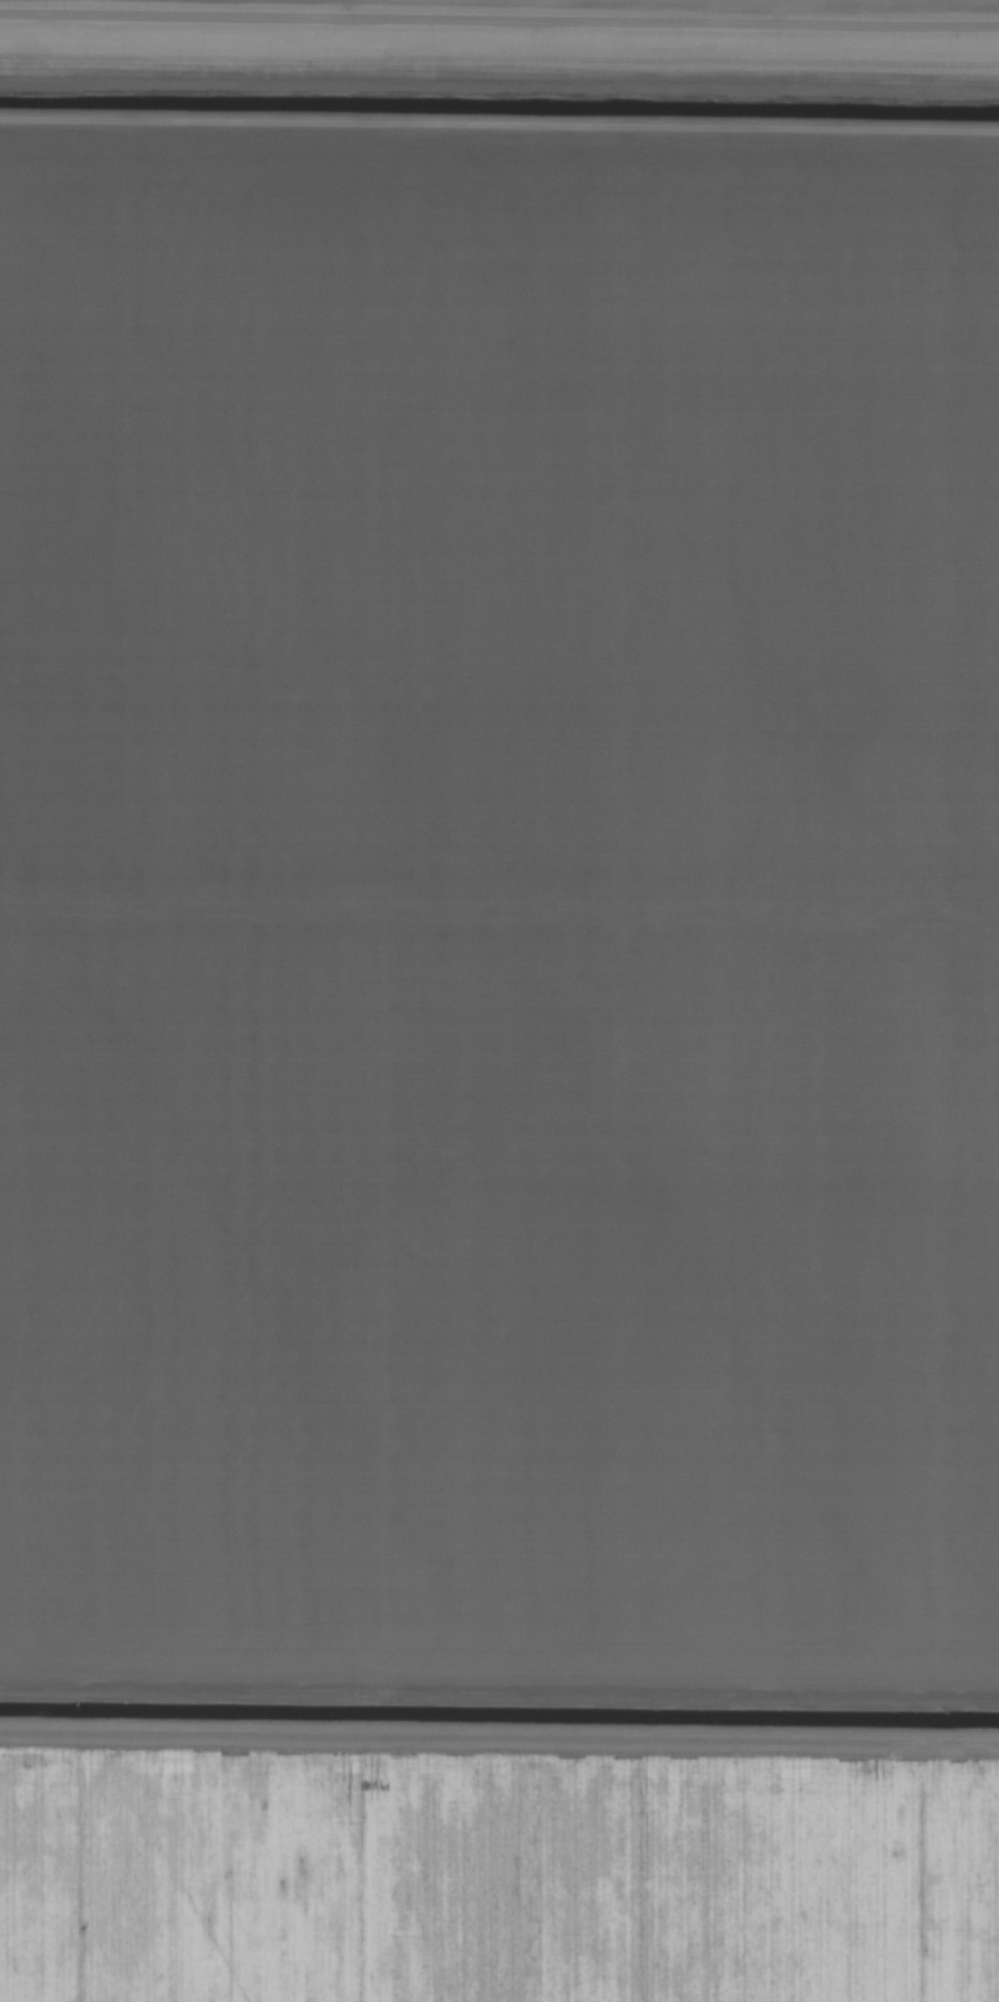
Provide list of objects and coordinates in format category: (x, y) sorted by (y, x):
road: (499, 25)
road: (499, 138)
crop: (499, 1001)

